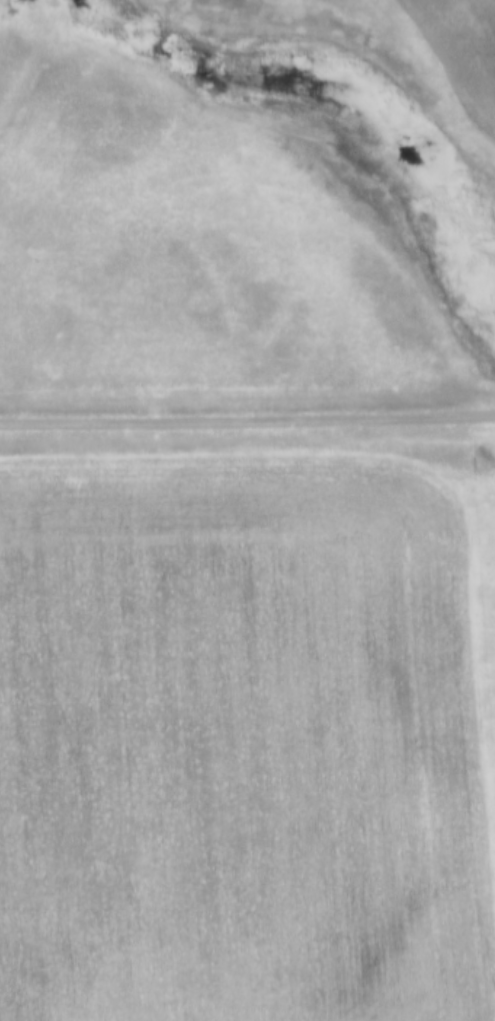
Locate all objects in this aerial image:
road: (247, 422)

